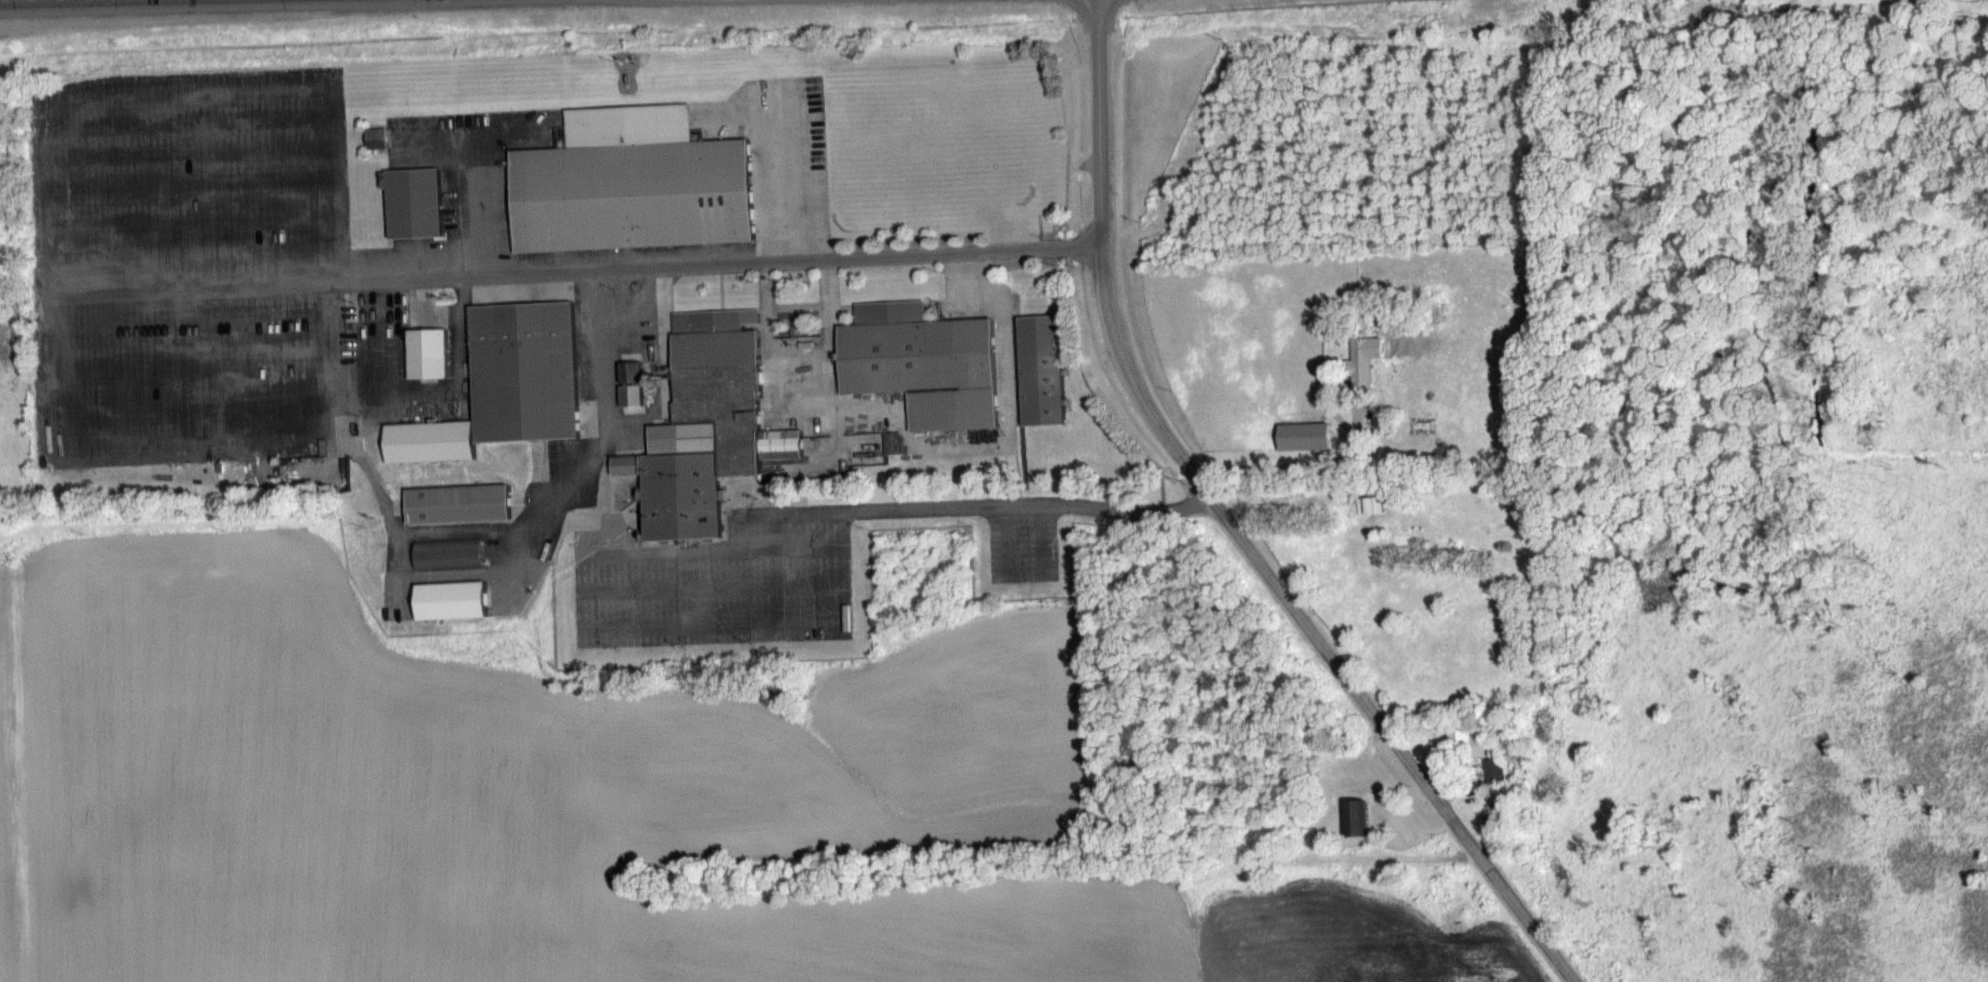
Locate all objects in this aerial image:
building: (379, 135)
building: (637, 181)
building: (419, 200)
building: (1015, 230)
road: (737, 264)
building: (433, 351)
building: (1366, 359)
building: (926, 362)
building: (1045, 368)
building: (530, 370)
building: (636, 382)
building: (714, 424)
building: (436, 440)
building: (632, 463)
building: (323, 479)
building: (463, 503)
building: (1372, 504)
road: (994, 507)
road: (1233, 529)
building: (452, 552)
building: (457, 599)
building: (1498, 770)
building: (1365, 816)

